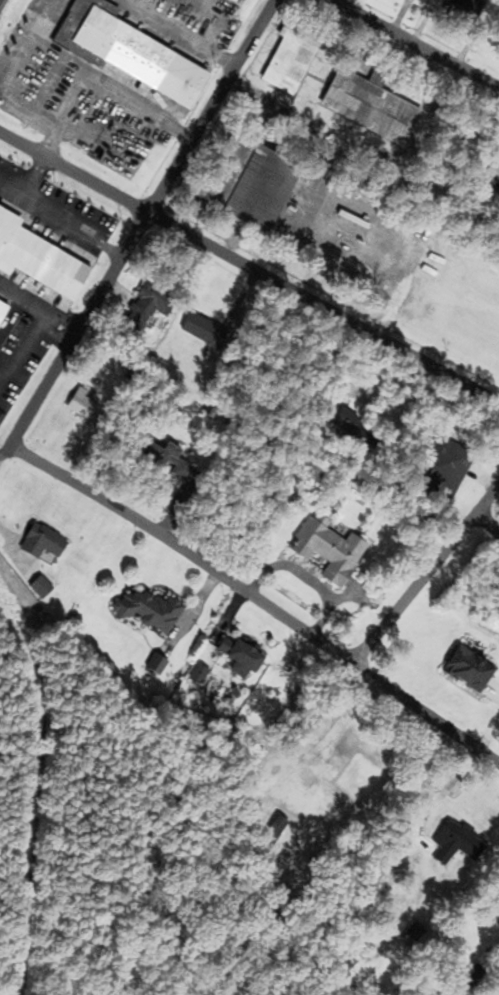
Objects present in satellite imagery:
building: (470, 11)
building: (228, 35)
road: (416, 44)
building: (127, 52)
building: (290, 58)
building: (369, 105)
road: (32, 176)
building: (259, 189)
road: (58, 220)
road: (138, 223)
building: (32, 256)
road: (248, 268)
building: (150, 301)
road: (38, 305)
building: (2, 309)
building: (205, 330)
road: (50, 336)
road: (22, 345)
building: (135, 374)
building: (86, 407)
road: (3, 451)
building: (166, 459)
road: (486, 522)
building: (40, 541)
building: (325, 550)
road: (423, 573)
building: (37, 587)
road: (253, 602)
building: (146, 611)
building: (228, 652)
building: (464, 669)
building: (332, 781)
building: (272, 829)
building: (452, 842)

